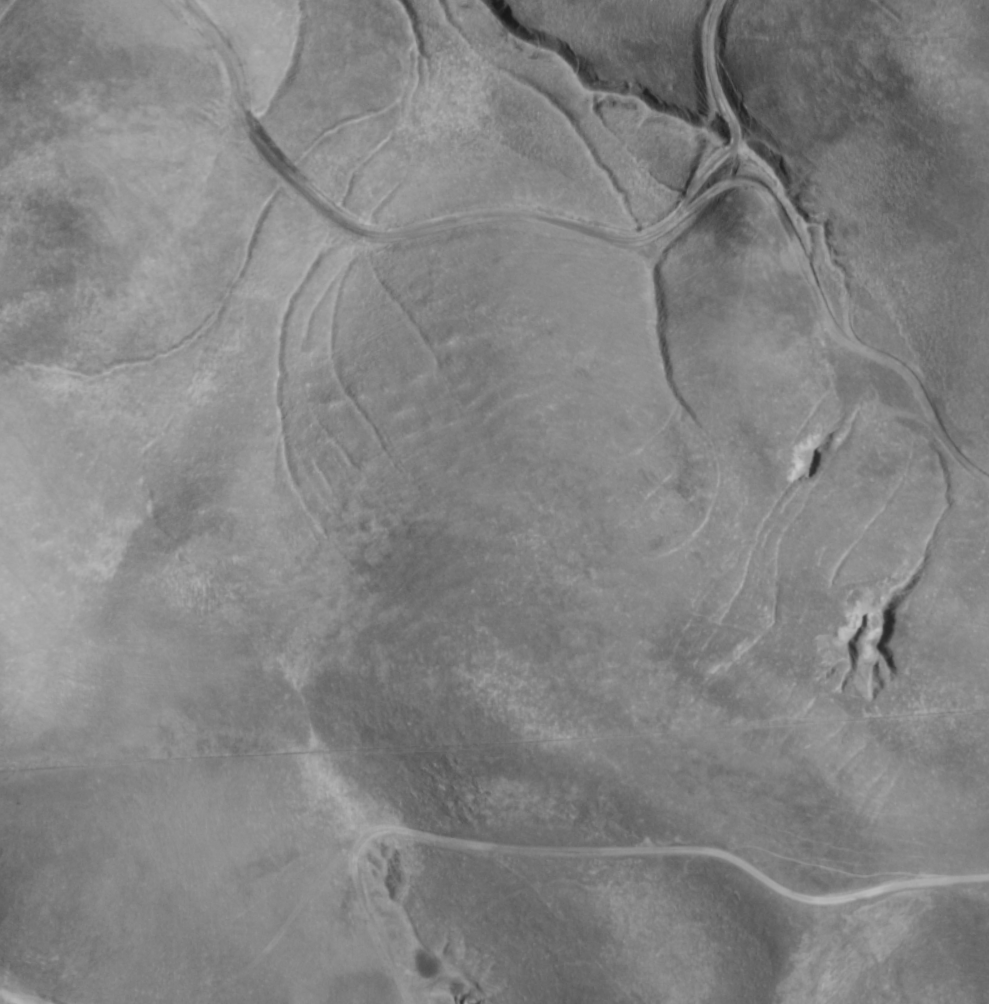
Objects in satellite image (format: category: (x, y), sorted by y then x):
road: (492, 219)
road: (828, 333)

